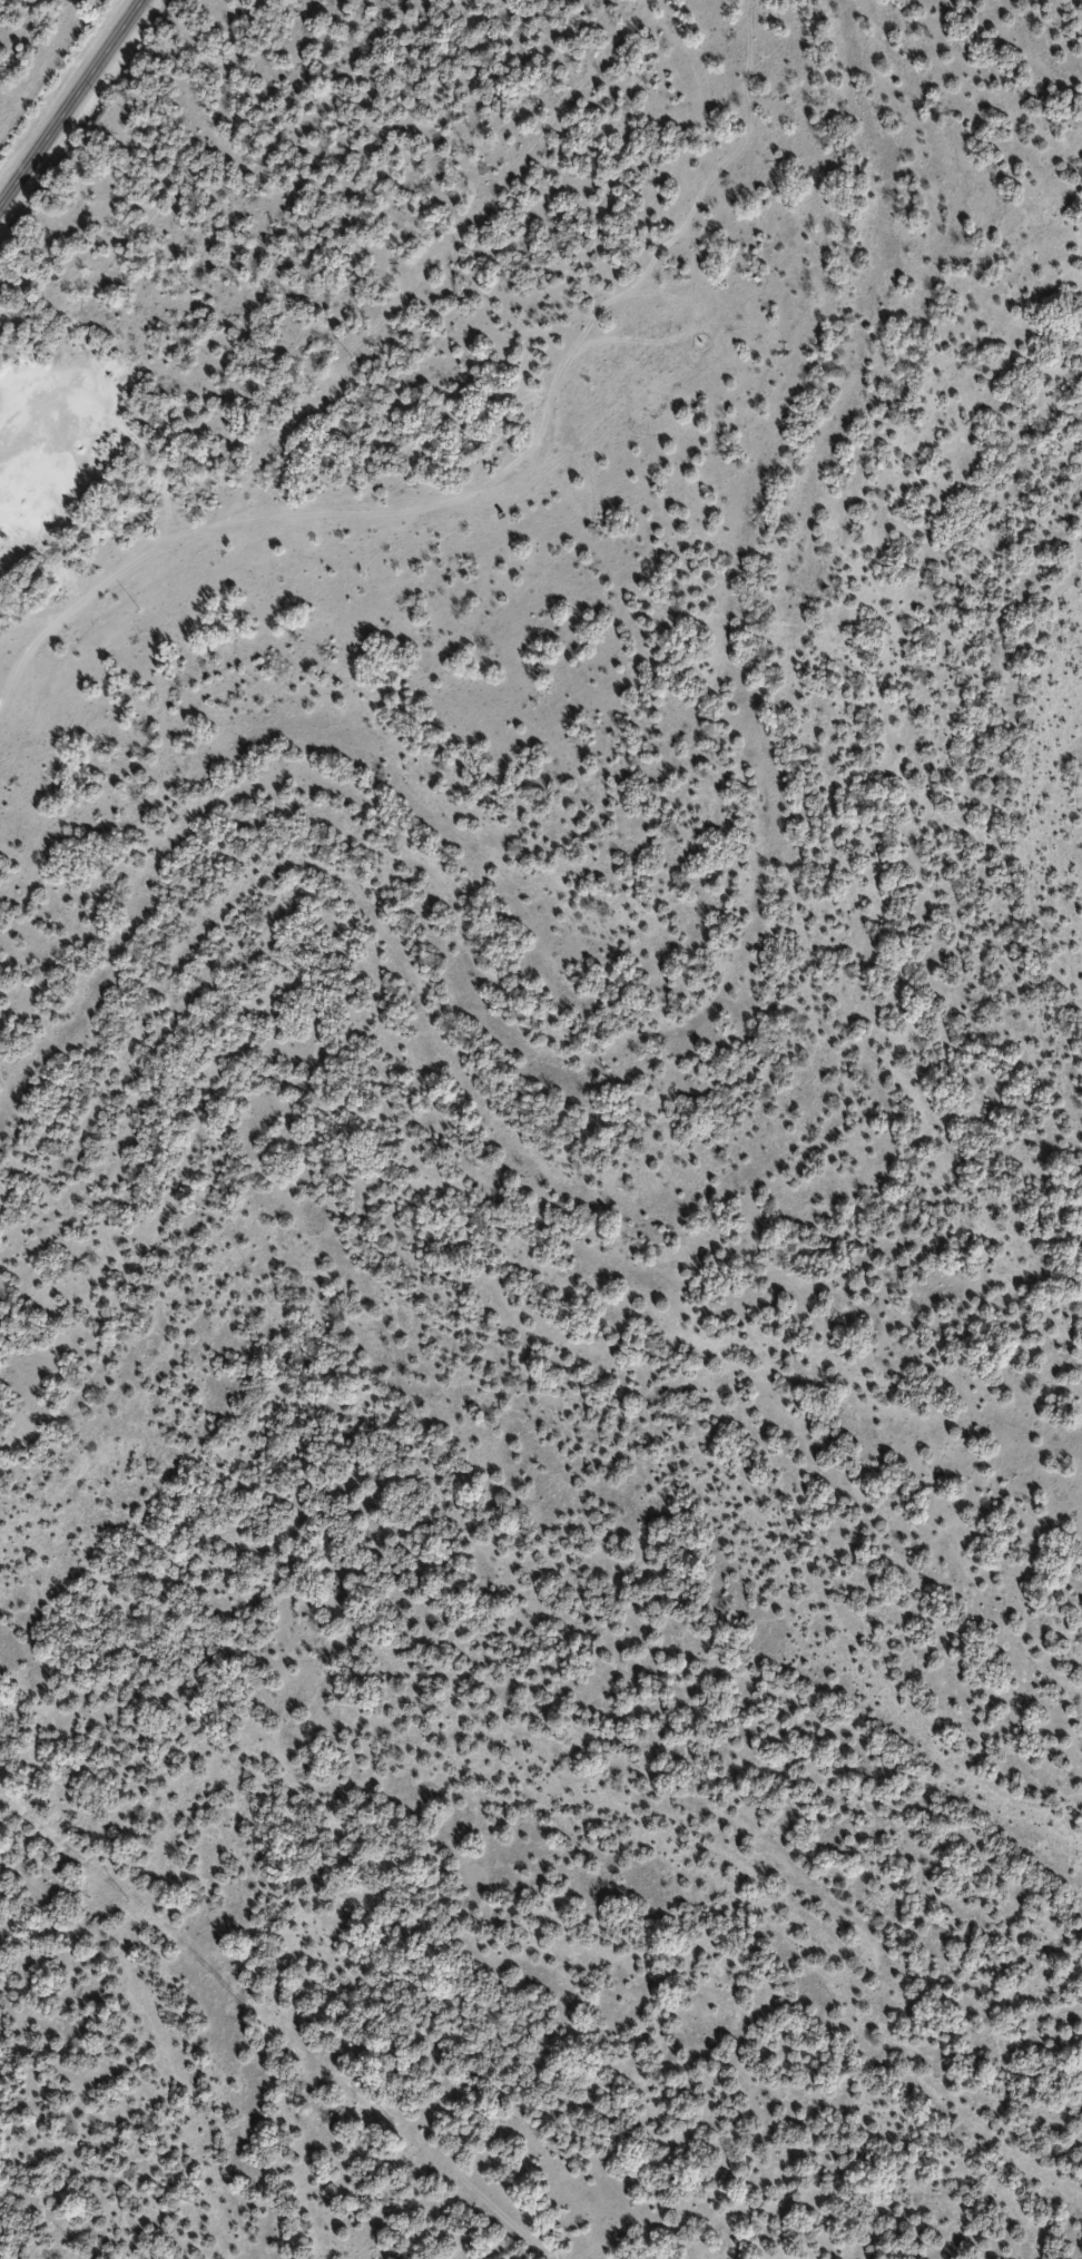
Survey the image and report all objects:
road: (71, 104)

